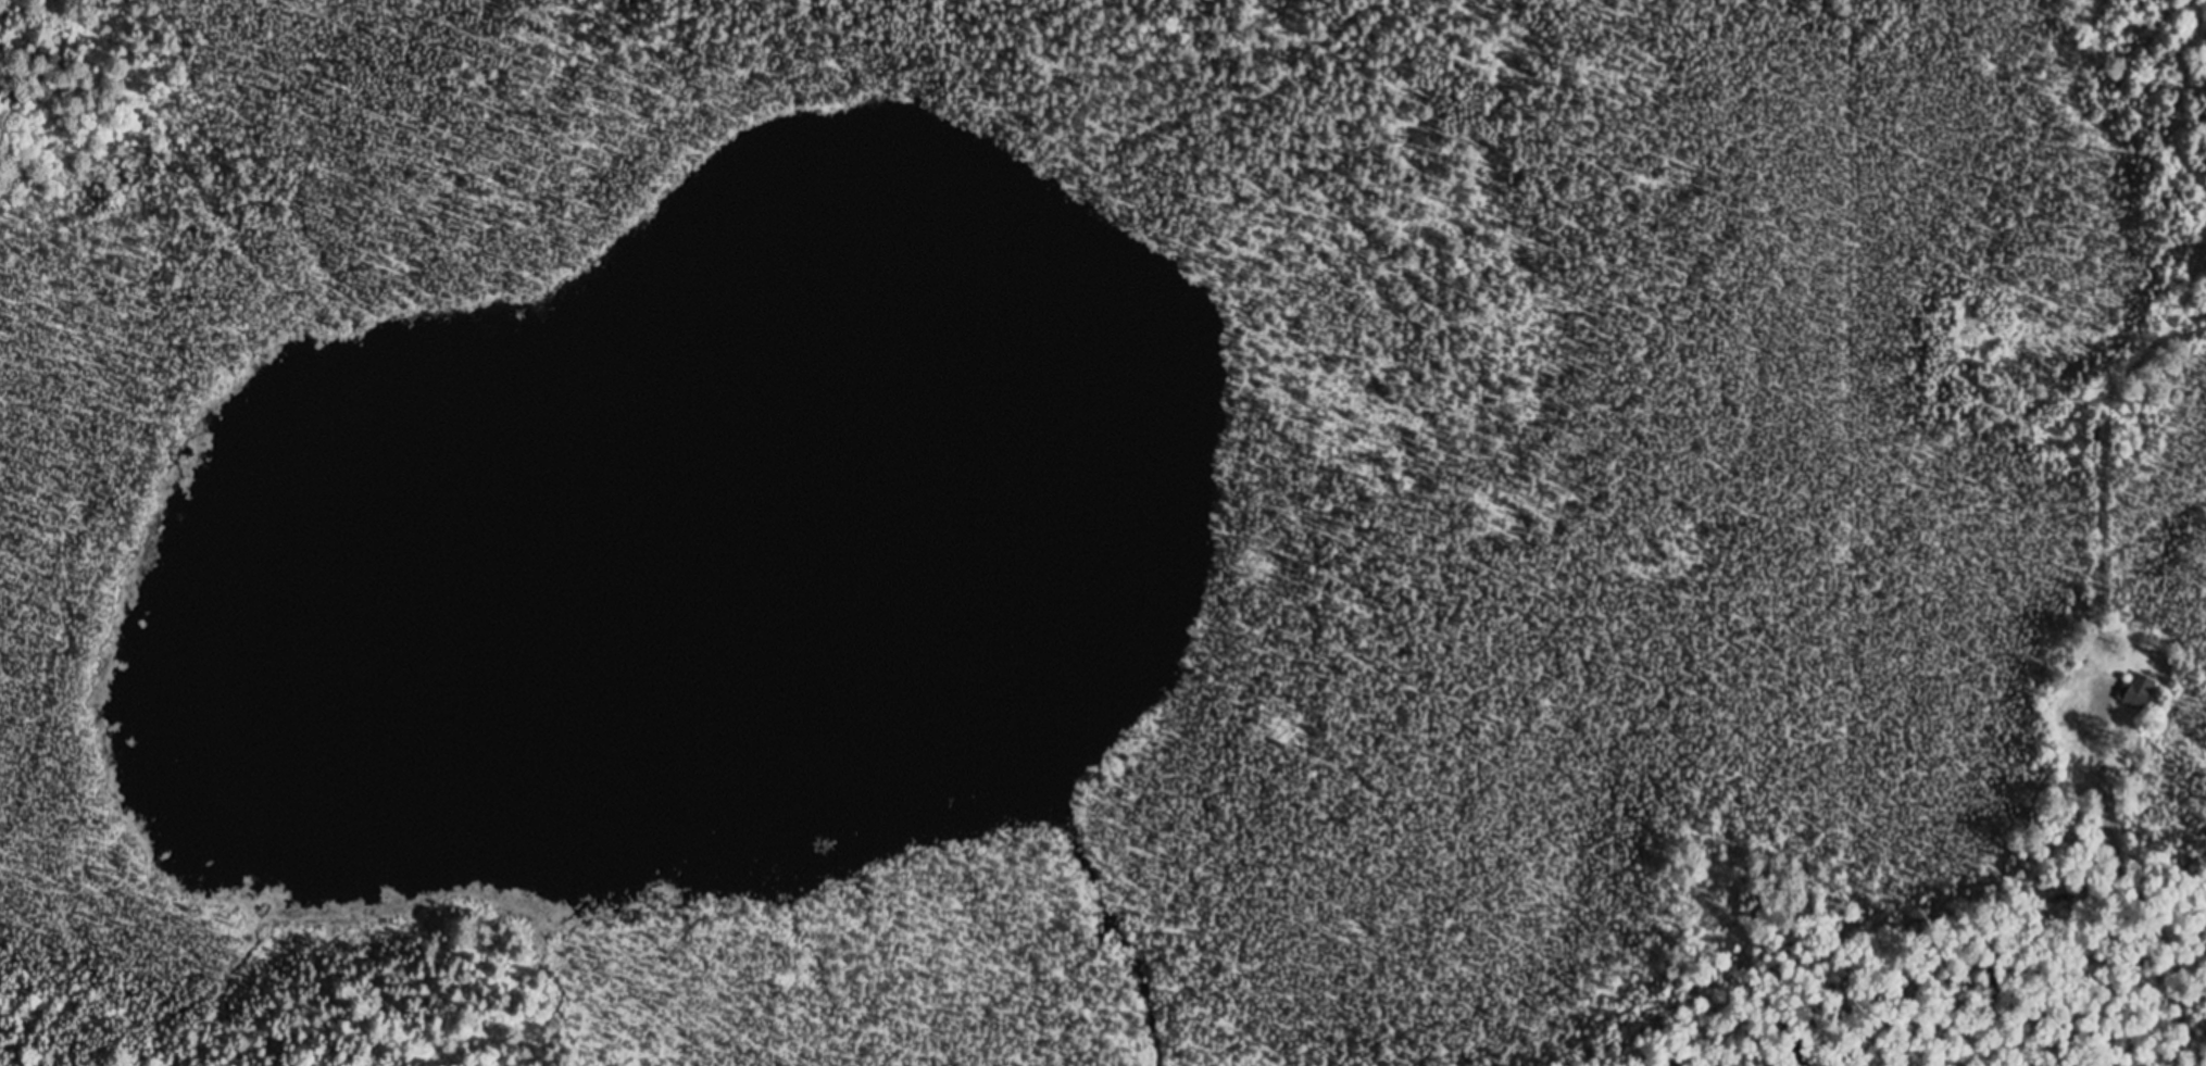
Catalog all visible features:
building: (2132, 695)

